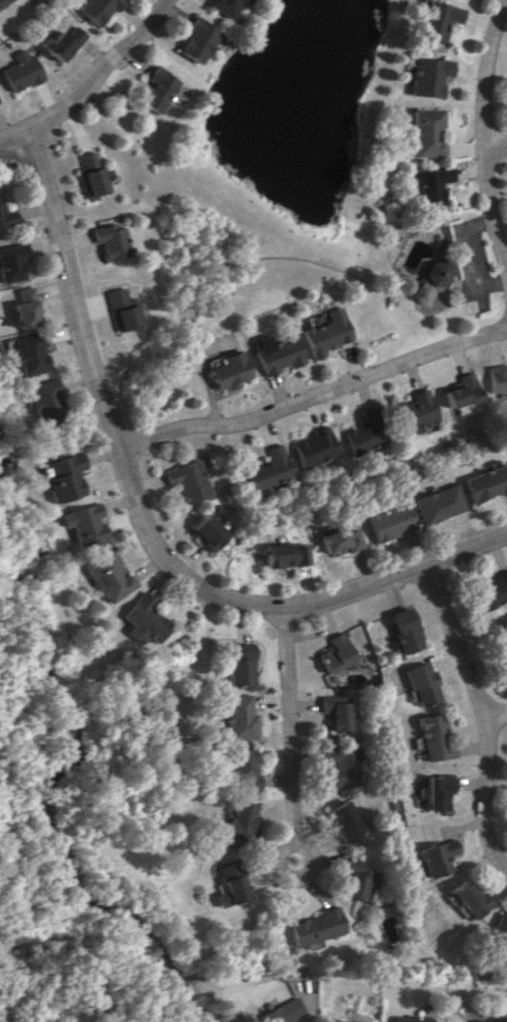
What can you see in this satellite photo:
building: (1, 1)
building: (221, 7)
building: (94, 10)
building: (435, 19)
building: (194, 40)
building: (60, 43)
building: (17, 70)
road: (482, 70)
road: (94, 72)
building: (427, 76)
building: (154, 90)
building: (425, 132)
road: (7, 133)
road: (494, 141)
building: (87, 175)
building: (426, 185)
road: (491, 215)
building: (5, 217)
building: (108, 241)
building: (9, 261)
building: (432, 272)
building: (20, 308)
building: (118, 309)
building: (325, 333)
building: (23, 353)
building: (275, 355)
building: (226, 371)
building: (496, 377)
building: (459, 391)
road: (311, 393)
building: (40, 400)
building: (410, 411)
building: (362, 433)
building: (311, 448)
building: (265, 472)
building: (61, 477)
building: (184, 480)
building: (486, 483)
building: (440, 503)
building: (390, 521)
road: (136, 523)
building: (81, 524)
building: (204, 532)
building: (342, 538)
building: (285, 554)
building: (105, 575)
building: (492, 591)
building: (141, 619)
building: (406, 629)
road: (458, 640)
building: (336, 654)
building: (504, 654)
building: (238, 664)
building: (423, 684)
building: (335, 711)
building: (238, 717)
road: (286, 732)
building: (434, 737)
building: (339, 764)
building: (241, 770)
road: (485, 785)
building: (436, 791)
building: (239, 820)
building: (345, 821)
building: (435, 857)
building: (356, 881)
building: (229, 884)
building: (468, 899)
building: (314, 926)
building: (499, 930)
building: (281, 1011)
building: (497, 1015)
building: (337, 1018)
building: (412, 1019)

